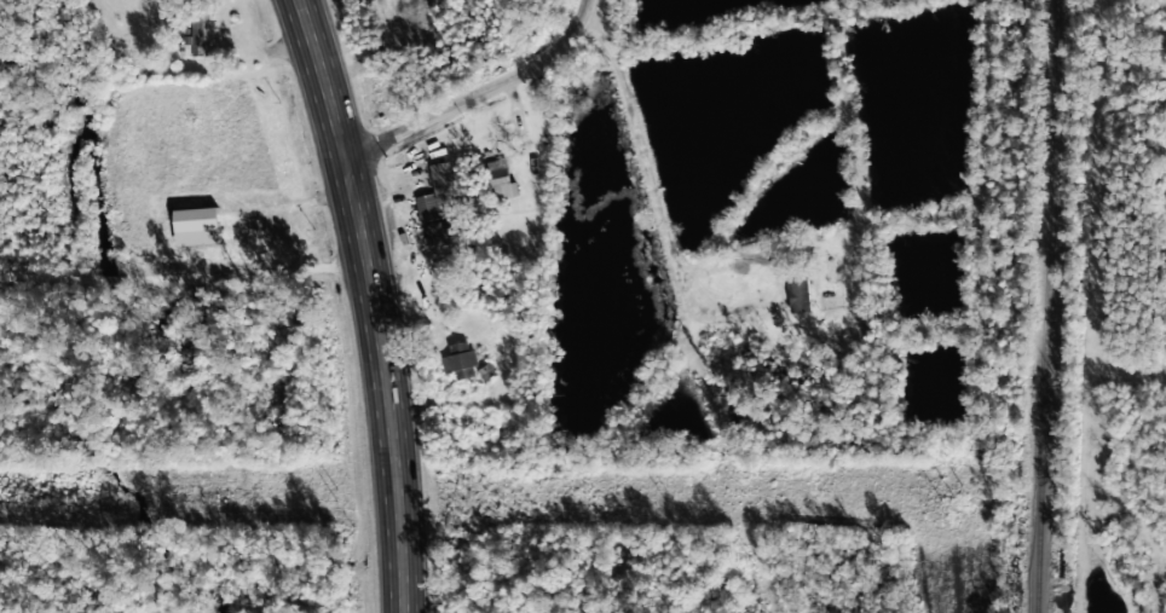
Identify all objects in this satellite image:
building: (197, 36)
road: (477, 93)
building: (501, 177)
building: (439, 204)
building: (196, 225)
building: (798, 293)
road: (374, 302)
railway: (1045, 306)
building: (469, 363)
power tower: (331, 497)
power tower: (659, 497)
power tower: (946, 497)

